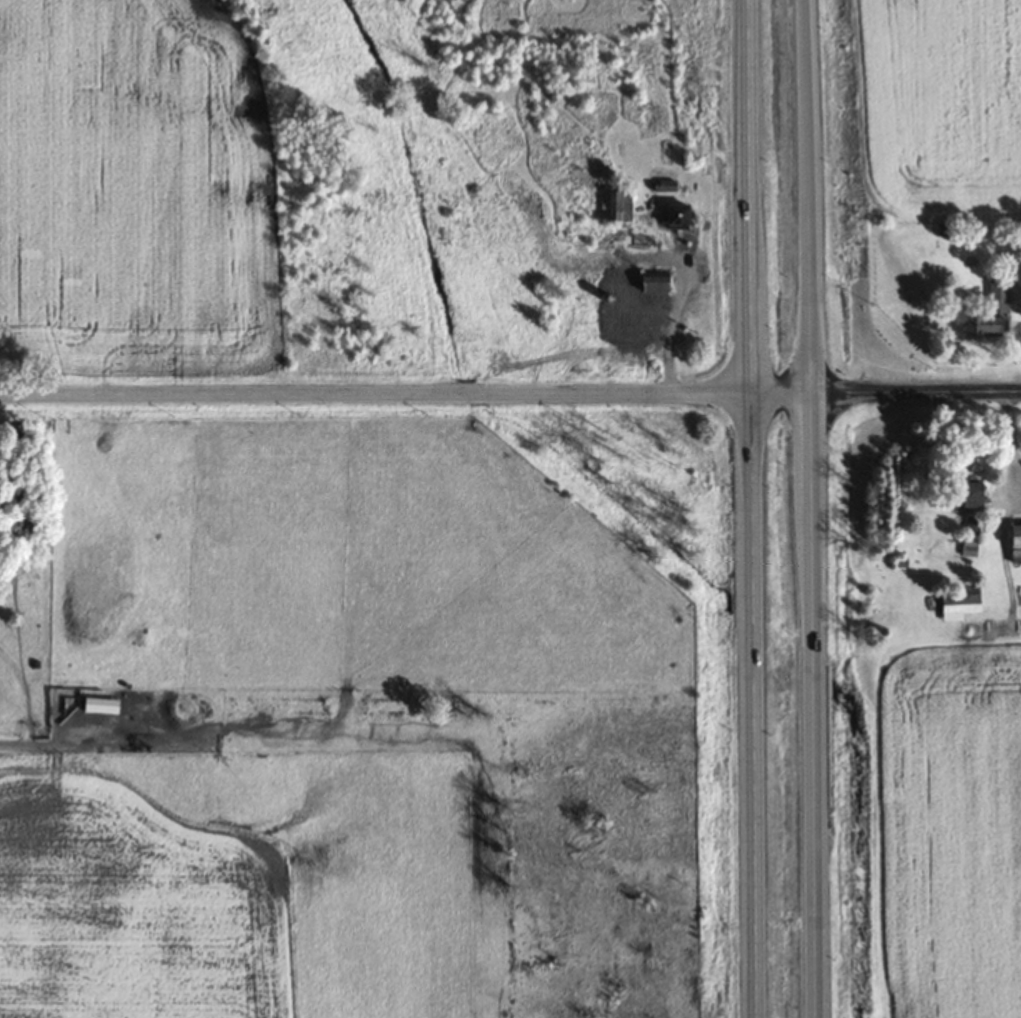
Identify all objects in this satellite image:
building: (663, 185)
building: (620, 204)
building: (674, 217)
building: (634, 299)
building: (989, 312)
road: (510, 393)
building: (964, 490)
road: (752, 508)
road: (811, 508)
building: (971, 524)
building: (1015, 542)
building: (1017, 595)
building: (958, 605)
building: (99, 704)

